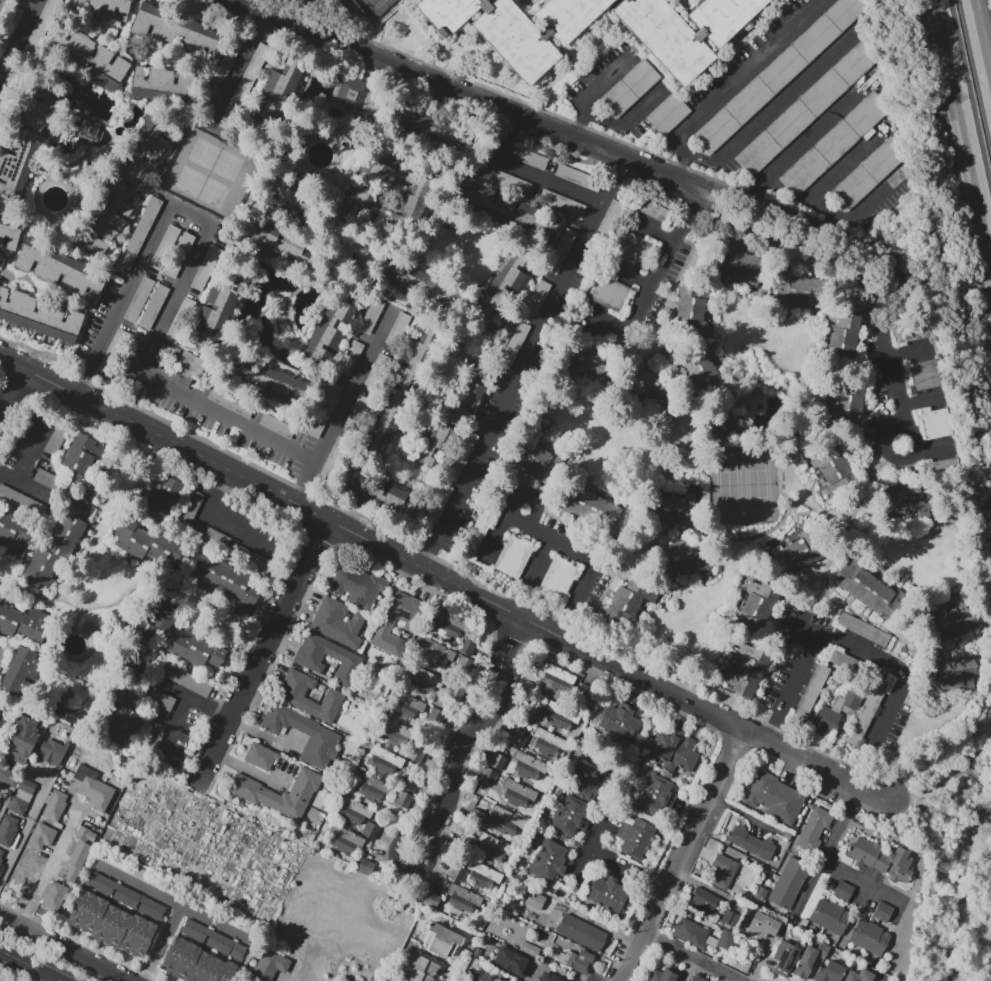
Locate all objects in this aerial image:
building: (28, 0)
road: (240, 1)
road: (779, 4)
building: (83, 6)
parking lot: (336, 7)
park: (374, 7)
building: (113, 9)
building: (448, 13)
building: (568, 17)
building: (722, 17)
building: (148, 20)
building: (9, 25)
building: (39, 28)
building: (178, 31)
road: (695, 31)
road: (548, 36)
building: (664, 37)
road: (18, 38)
road: (982, 38)
building: (514, 40)
building: (205, 42)
building: (67, 43)
building: (229, 55)
building: (91, 59)
road: (234, 69)
building: (779, 71)
building: (113, 73)
road: (745, 74)
building: (147, 84)
building: (244, 84)
building: (174, 89)
road: (453, 89)
building: (628, 90)
building: (207, 94)
building: (353, 95)
road: (784, 97)
building: (271, 102)
road: (640, 108)
building: (806, 108)
building: (668, 113)
parking lot: (778, 113)
road: (964, 121)
road: (579, 126)
building: (89, 128)
building: (432, 130)
road: (815, 130)
building: (30, 140)
building: (834, 143)
building: (490, 148)
building: (379, 157)
building: (529, 158)
road: (844, 162)
road: (712, 164)
road: (681, 166)
building: (868, 173)
road: (526, 174)
building: (571, 174)
building: (368, 179)
building: (508, 180)
building: (122, 183)
road: (681, 183)
building: (276, 188)
building: (414, 191)
building: (299, 202)
building: (561, 203)
building: (355, 206)
building: (645, 206)
building: (501, 208)
building: (608, 216)
road: (186, 218)
building: (402, 218)
road: (651, 229)
building: (10, 231)
building: (252, 232)
building: (139, 235)
building: (278, 244)
building: (165, 247)
building: (630, 247)
building: (560, 251)
building: (178, 254)
building: (589, 255)
building: (33, 256)
building: (304, 258)
road: (875, 261)
building: (728, 263)
road: (661, 264)
building: (205, 267)
building: (60, 270)
road: (628, 274)
road: (876, 274)
building: (86, 283)
building: (416, 283)
building: (500, 288)
building: (797, 288)
building: (608, 293)
building: (537, 297)
building: (138, 299)
building: (11, 305)
building: (222, 306)
building: (153, 307)
building: (696, 308)
building: (37, 315)
building: (371, 316)
building: (179, 320)
road: (606, 322)
building: (65, 325)
building: (329, 328)
building: (397, 329)
building: (910, 333)
building: (845, 334)
building: (503, 339)
building: (514, 344)
building: (112, 349)
road: (887, 353)
building: (350, 358)
building: (189, 363)
road: (524, 364)
building: (589, 368)
building: (377, 372)
building: (926, 374)
building: (716, 377)
building: (269, 381)
building: (649, 387)
road: (11, 393)
building: (397, 393)
building: (230, 403)
road: (346, 403)
building: (849, 403)
building: (324, 409)
building: (355, 413)
building: (449, 416)
road: (226, 419)
building: (938, 423)
building: (277, 426)
building: (717, 426)
building: (54, 441)
road: (31, 450)
building: (533, 451)
building: (79, 454)
building: (463, 454)
road: (912, 455)
building: (332, 460)
building: (833, 468)
building: (46, 478)
road: (24, 485)
building: (160, 495)
building: (378, 495)
building: (907, 499)
building: (83, 500)
building: (22, 501)
road: (512, 504)
building: (436, 505)
building: (590, 508)
building: (666, 508)
building: (189, 509)
road: (213, 524)
building: (478, 531)
building: (14, 532)
building: (65, 534)
building: (216, 537)
building: (149, 545)
building: (796, 553)
building: (686, 556)
building: (513, 557)
building: (250, 558)
road: (583, 558)
road: (540, 559)
building: (41, 568)
building: (558, 577)
building: (225, 578)
road: (442, 579)
building: (344, 580)
building: (867, 589)
building: (365, 590)
building: (0, 595)
building: (0, 597)
building: (630, 600)
building: (754, 604)
building: (0, 606)
building: (452, 620)
building: (952, 620)
building: (24, 622)
building: (338, 623)
building: (384, 627)
building: (445, 627)
building: (863, 629)
building: (149, 637)
building: (466, 647)
building: (198, 648)
building: (437, 648)
road: (264, 653)
building: (3, 654)
building: (433, 657)
building: (307, 658)
building: (462, 662)
building: (18, 670)
building: (747, 670)
building: (557, 673)
building: (948, 674)
building: (424, 675)
road: (903, 678)
building: (185, 679)
building: (420, 685)
road: (790, 689)
building: (454, 692)
building: (810, 692)
building: (856, 692)
building: (289, 696)
road: (190, 697)
building: (161, 699)
building: (414, 703)
building: (555, 707)
building: (403, 709)
building: (867, 711)
building: (532, 712)
building: (435, 716)
building: (123, 720)
building: (824, 720)
road: (2, 721)
building: (619, 722)
road: (472, 726)
building: (396, 727)
road: (171, 729)
building: (324, 735)
building: (153, 736)
building: (389, 737)
building: (550, 738)
building: (517, 739)
building: (22, 740)
building: (675, 750)
building: (53, 751)
building: (415, 754)
road: (978, 754)
building: (261, 756)
building: (386, 756)
building: (530, 761)
building: (497, 762)
building: (381, 765)
road: (247, 769)
road: (967, 769)
building: (526, 771)
building: (488, 776)
building: (8, 777)
road: (980, 782)
building: (375, 783)
road: (926, 787)
building: (94, 789)
building: (520, 789)
building: (405, 791)
building: (368, 792)
building: (258, 795)
building: (655, 795)
building: (774, 798)
building: (515, 799)
road: (4, 801)
building: (20, 801)
building: (577, 801)
building: (54, 805)
building: (355, 806)
building: (347, 814)
building: (507, 815)
building: (475, 817)
building: (504, 826)
building: (813, 827)
road: (23, 829)
building: (7, 830)
building: (370, 831)
building: (87, 832)
road: (696, 832)
building: (346, 835)
building: (41, 836)
building: (633, 838)
building: (751, 842)
building: (340, 843)
building: (496, 843)
road: (826, 851)
building: (1, 852)
building: (490, 853)
road: (56, 854)
building: (881, 858)
building: (0, 860)
building: (76, 860)
building: (549, 861)
road: (612, 863)
building: (365, 866)
road: (403, 867)
building: (481, 868)
power tower: (942, 868)
building: (723, 870)
building: (456, 874)
building: (479, 880)
road: (863, 880)
building: (788, 882)
road: (139, 887)
building: (733, 890)
building: (843, 890)
building: (606, 893)
building: (53, 895)
building: (759, 895)
building: (462, 897)
building: (430, 899)
building: (703, 901)
building: (548, 904)
road: (177, 908)
building: (883, 912)
building: (116, 915)
building: (830, 916)
building: (730, 918)
building: (763, 925)
building: (581, 933)
building: (691, 933)
building: (870, 937)
building: (441, 939)
building: (726, 939)
road: (68, 947)
building: (529, 948)
building: (201, 954)
building: (785, 956)
road: (634, 957)
road: (694, 957)
building: (575, 959)
building: (809, 959)
building: (511, 962)
road: (31, 965)
building: (269, 965)
building: (739, 965)
building: (423, 966)
building: (830, 972)
building: (662, 974)
building: (416, 976)
building: (481, 976)
building: (859, 976)
building: (549, 977)
building: (697, 978)
building: (402, 979)
building: (515, 980)

